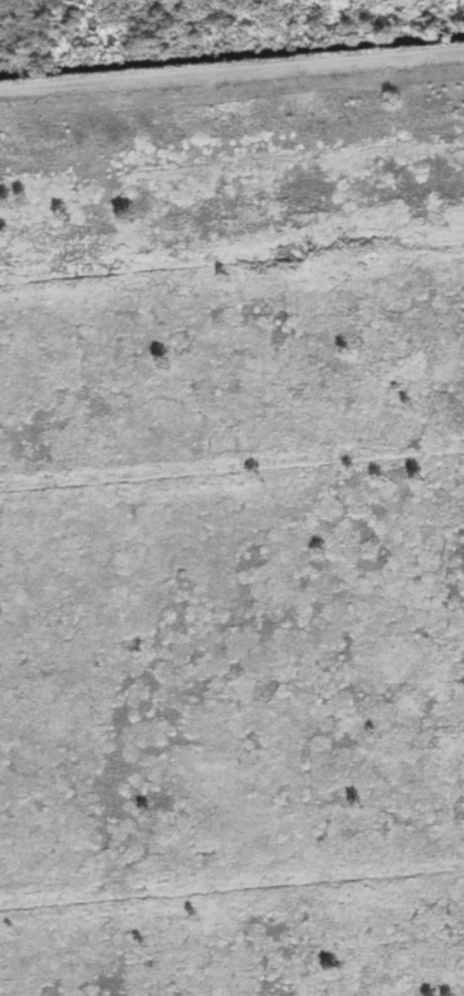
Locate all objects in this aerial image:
road: (232, 72)

